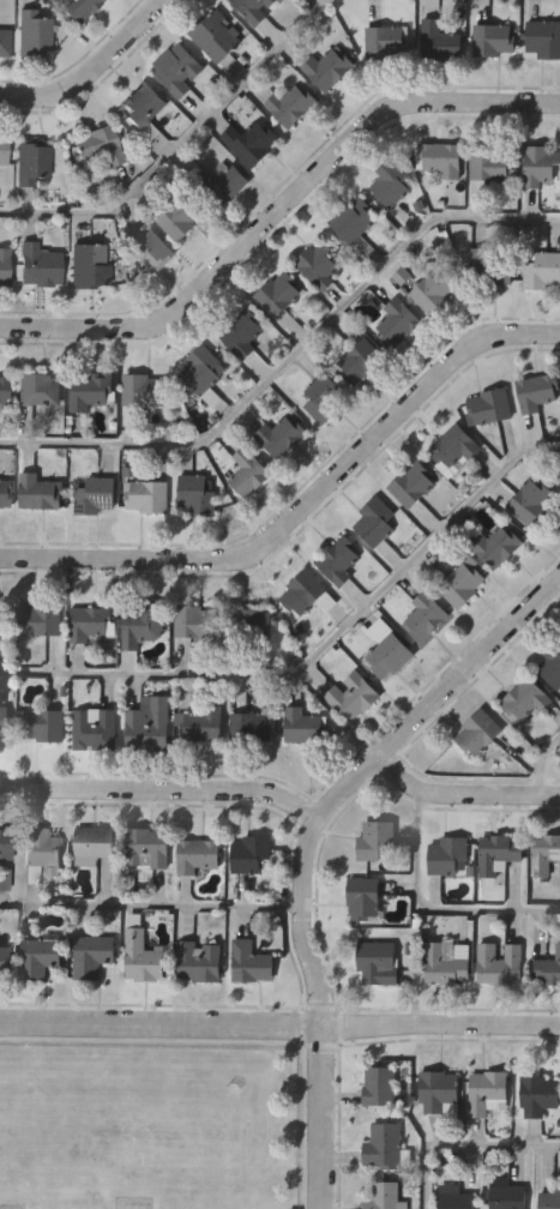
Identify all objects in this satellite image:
building: (76, 8)
building: (252, 10)
building: (32, 31)
building: (215, 36)
building: (493, 40)
building: (542, 40)
building: (383, 41)
building: (438, 41)
building: (4, 42)
building: (175, 68)
building: (326, 68)
road: (92, 70)
building: (289, 103)
building: (141, 109)
building: (249, 142)
road: (180, 143)
building: (97, 145)
building: (2, 149)
building: (439, 158)
building: (30, 161)
building: (489, 163)
building: (538, 166)
building: (387, 181)
building: (224, 187)
road: (278, 210)
building: (176, 218)
building: (353, 219)
building: (147, 247)
building: (36, 264)
building: (317, 264)
building: (2, 265)
building: (88, 265)
building: (490, 267)
building: (541, 271)
building: (424, 287)
building: (277, 294)
building: (396, 321)
building: (241, 332)
road: (289, 357)
building: (359, 362)
building: (201, 374)
building: (37, 389)
building: (141, 390)
building: (2, 391)
building: (89, 391)
building: (536, 392)
building: (323, 398)
building: (487, 407)
building: (277, 438)
building: (452, 451)
building: (247, 474)
building: (411, 485)
building: (37, 492)
building: (4, 494)
building: (96, 495)
building: (194, 495)
building: (145, 497)
building: (530, 501)
road: (303, 505)
building: (373, 523)
building: (495, 546)
building: (337, 561)
building: (459, 583)
building: (301, 593)
building: (422, 618)
building: (41, 620)
building: (193, 622)
building: (90, 624)
building: (4, 625)
building: (139, 625)
building: (248, 625)
road: (317, 654)
building: (387, 656)
building: (550, 667)
building: (350, 697)
building: (524, 702)
building: (2, 723)
building: (146, 724)
building: (199, 726)
building: (40, 727)
building: (300, 727)
building: (247, 728)
building: (92, 730)
building: (477, 733)
road: (541, 762)
road: (162, 787)
road: (463, 795)
building: (373, 840)
building: (4, 843)
road: (308, 843)
building: (92, 844)
building: (38, 847)
building: (145, 848)
building: (498, 853)
building: (248, 854)
building: (543, 854)
building: (197, 855)
building: (446, 856)
building: (362, 898)
road: (151, 907)
road: (429, 910)
building: (37, 956)
building: (90, 956)
building: (139, 956)
building: (198, 961)
building: (2, 962)
building: (249, 962)
building: (498, 962)
building: (375, 963)
building: (445, 964)
building: (546, 969)
road: (279, 1023)
building: (378, 1085)
building: (436, 1093)
building: (486, 1093)
building: (537, 1095)
road: (466, 1145)
building: (381, 1147)
building: (381, 1196)
building: (506, 1197)
building: (549, 1199)
building: (454, 1201)

